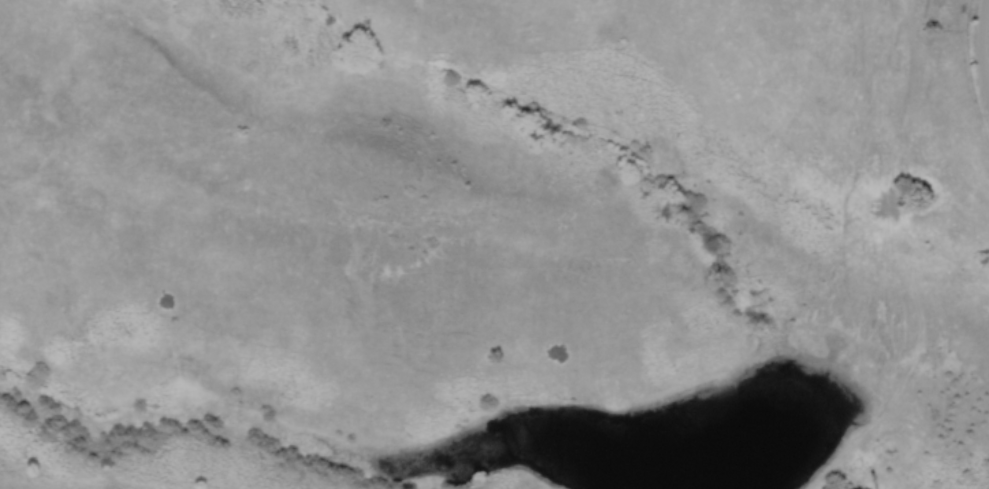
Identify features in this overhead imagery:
road: (981, 47)

